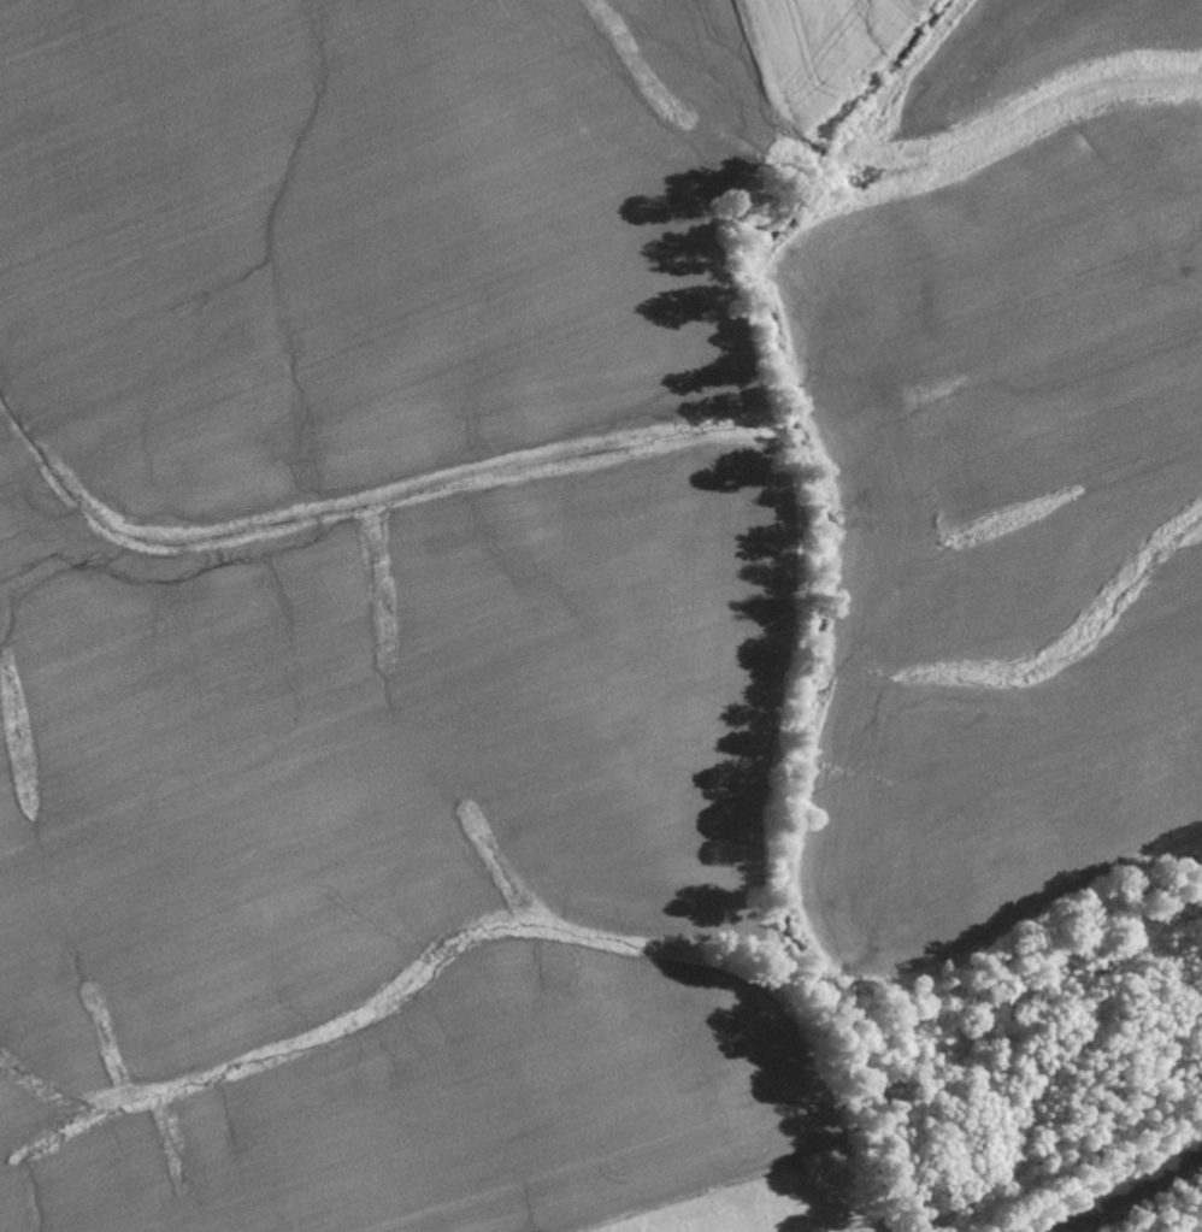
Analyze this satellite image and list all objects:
railway: (1127, 1190)

